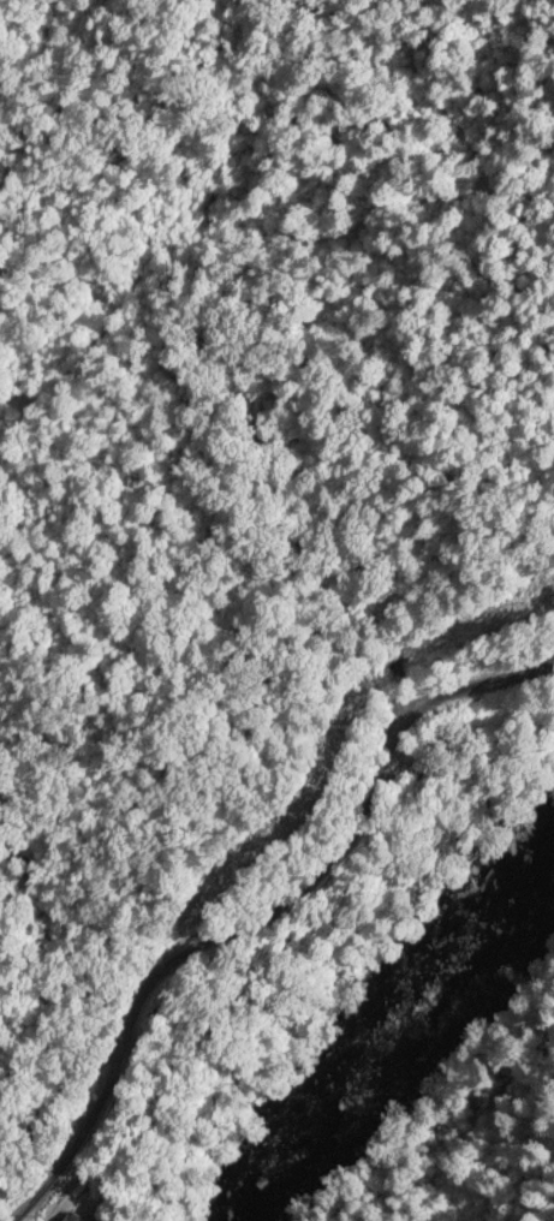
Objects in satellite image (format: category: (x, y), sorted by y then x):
road: (126, 856)
road: (254, 905)
river: (393, 1038)
building: (61, 1217)

